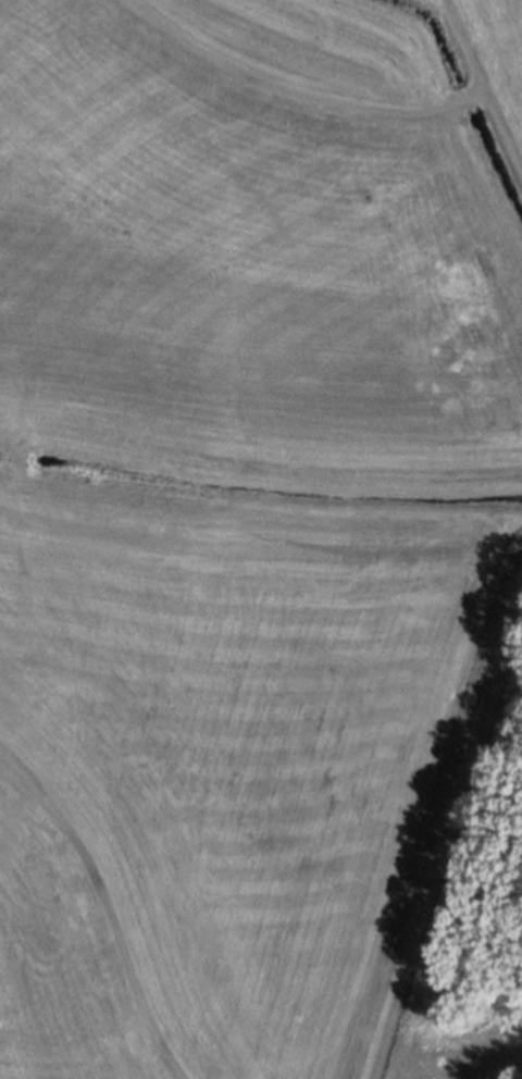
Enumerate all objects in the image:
road: (484, 85)
road: (295, 97)
airport: (261, 539)
road: (434, 809)
road: (108, 905)

